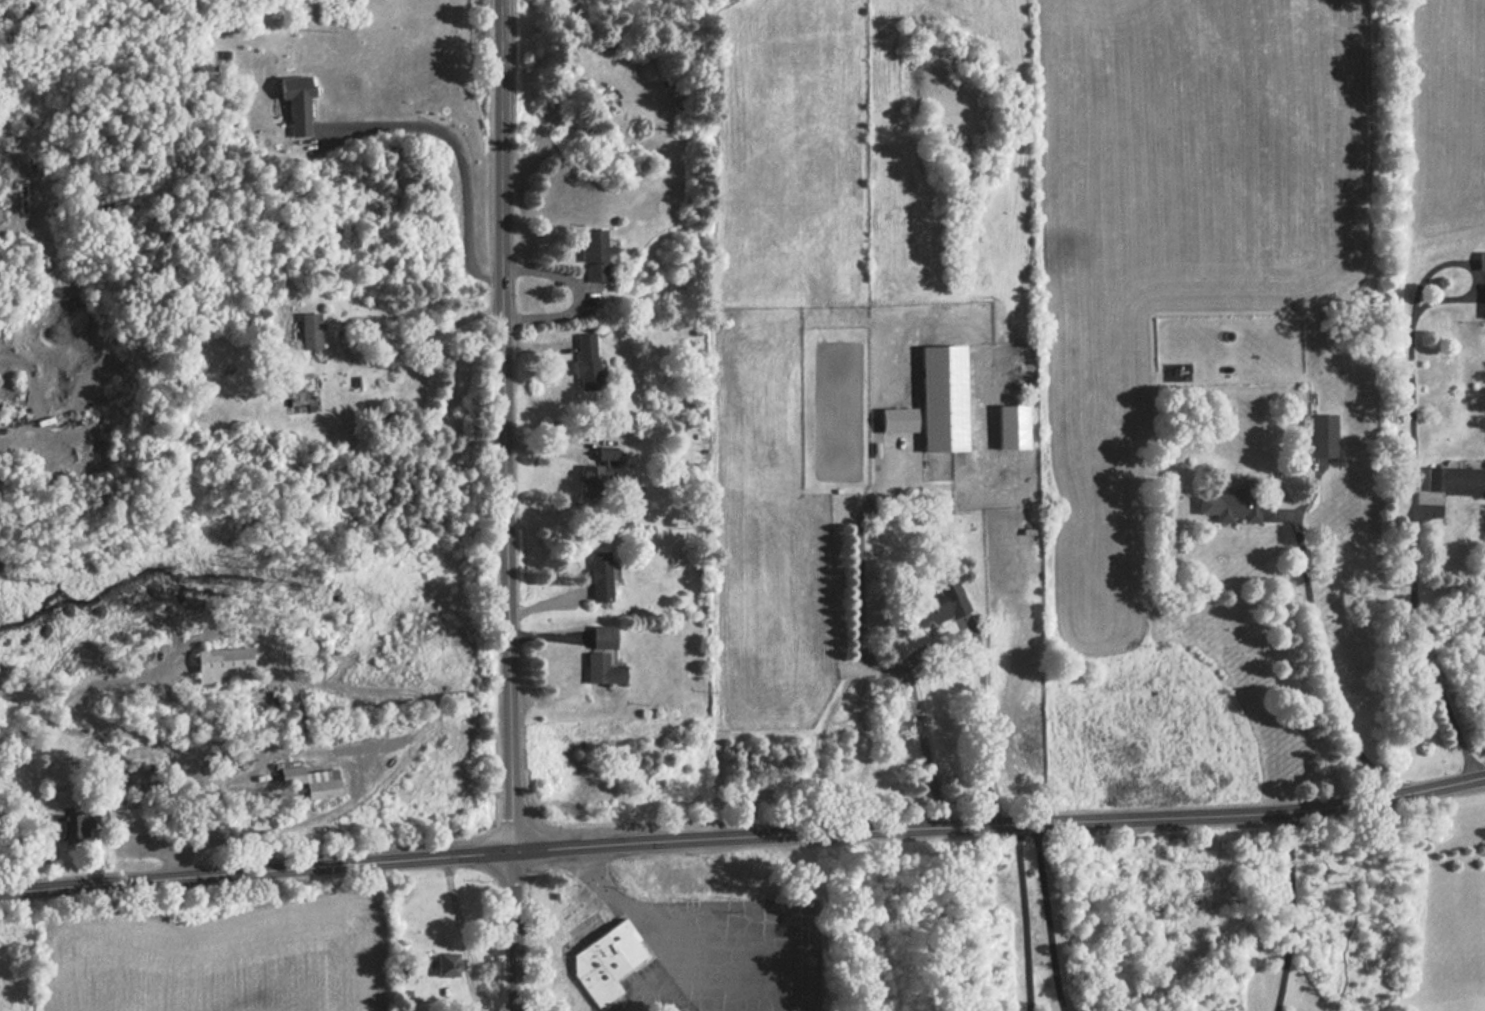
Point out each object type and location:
building: (567, 53)
building: (294, 104)
road: (463, 161)
building: (590, 253)
building: (1482, 302)
road: (370, 326)
building: (304, 331)
building: (584, 361)
building: (938, 398)
building: (894, 420)
building: (1010, 428)
building: (604, 455)
building: (1450, 480)
road: (504, 505)
building: (1233, 506)
building: (935, 603)
building: (598, 637)
road: (947, 646)
road: (1422, 650)
road: (1322, 661)
building: (597, 670)
road: (1000, 823)
road: (256, 869)
road: (644, 908)
road: (1290, 908)
road: (1024, 916)
road: (1048, 917)
building: (605, 959)
crop: (214, 962)
building: (443, 966)

